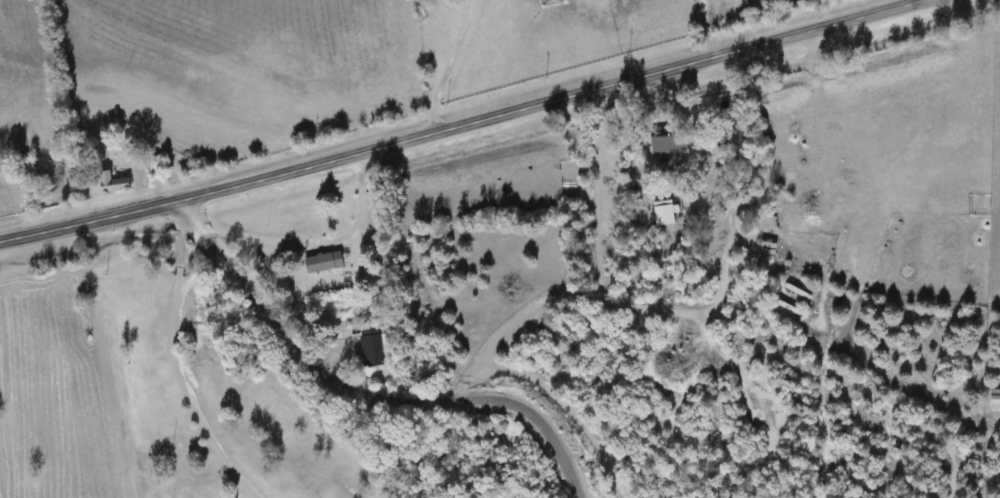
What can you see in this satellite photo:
road: (447, 64)
road: (459, 123)
building: (665, 214)
road: (317, 240)
building: (769, 249)
building: (325, 264)
building: (372, 348)
road: (174, 370)
road: (361, 394)
building: (995, 401)

